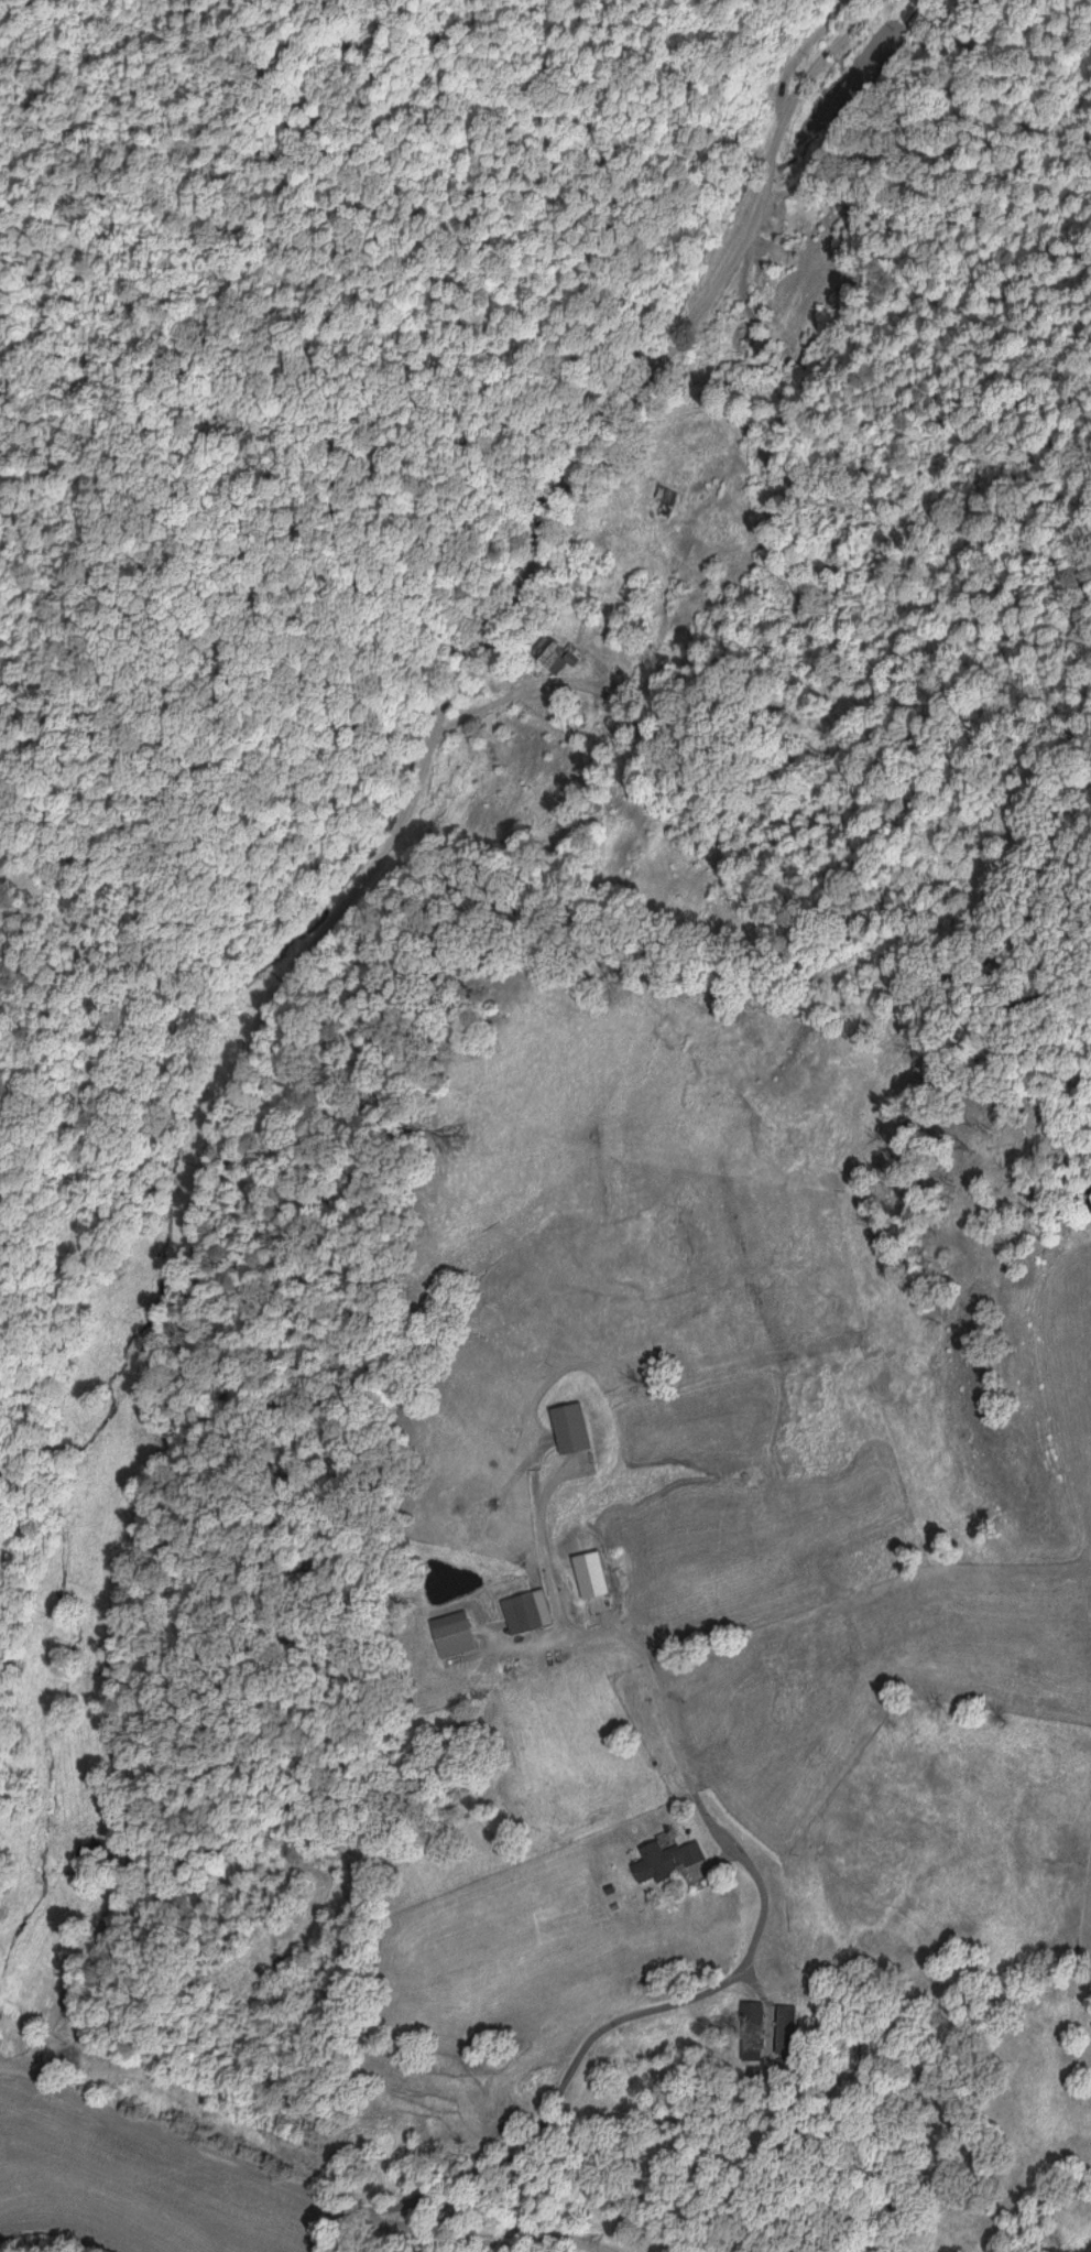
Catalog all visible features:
building: (752, 344)
building: (662, 499)
building: (546, 653)
road: (378, 968)
building: (569, 1426)
building: (575, 1587)
building: (524, 1610)
building: (450, 1634)
building: (90, 1849)
building: (664, 1859)
road: (742, 1953)
building: (782, 2028)
building: (749, 2031)
road: (293, 2180)

